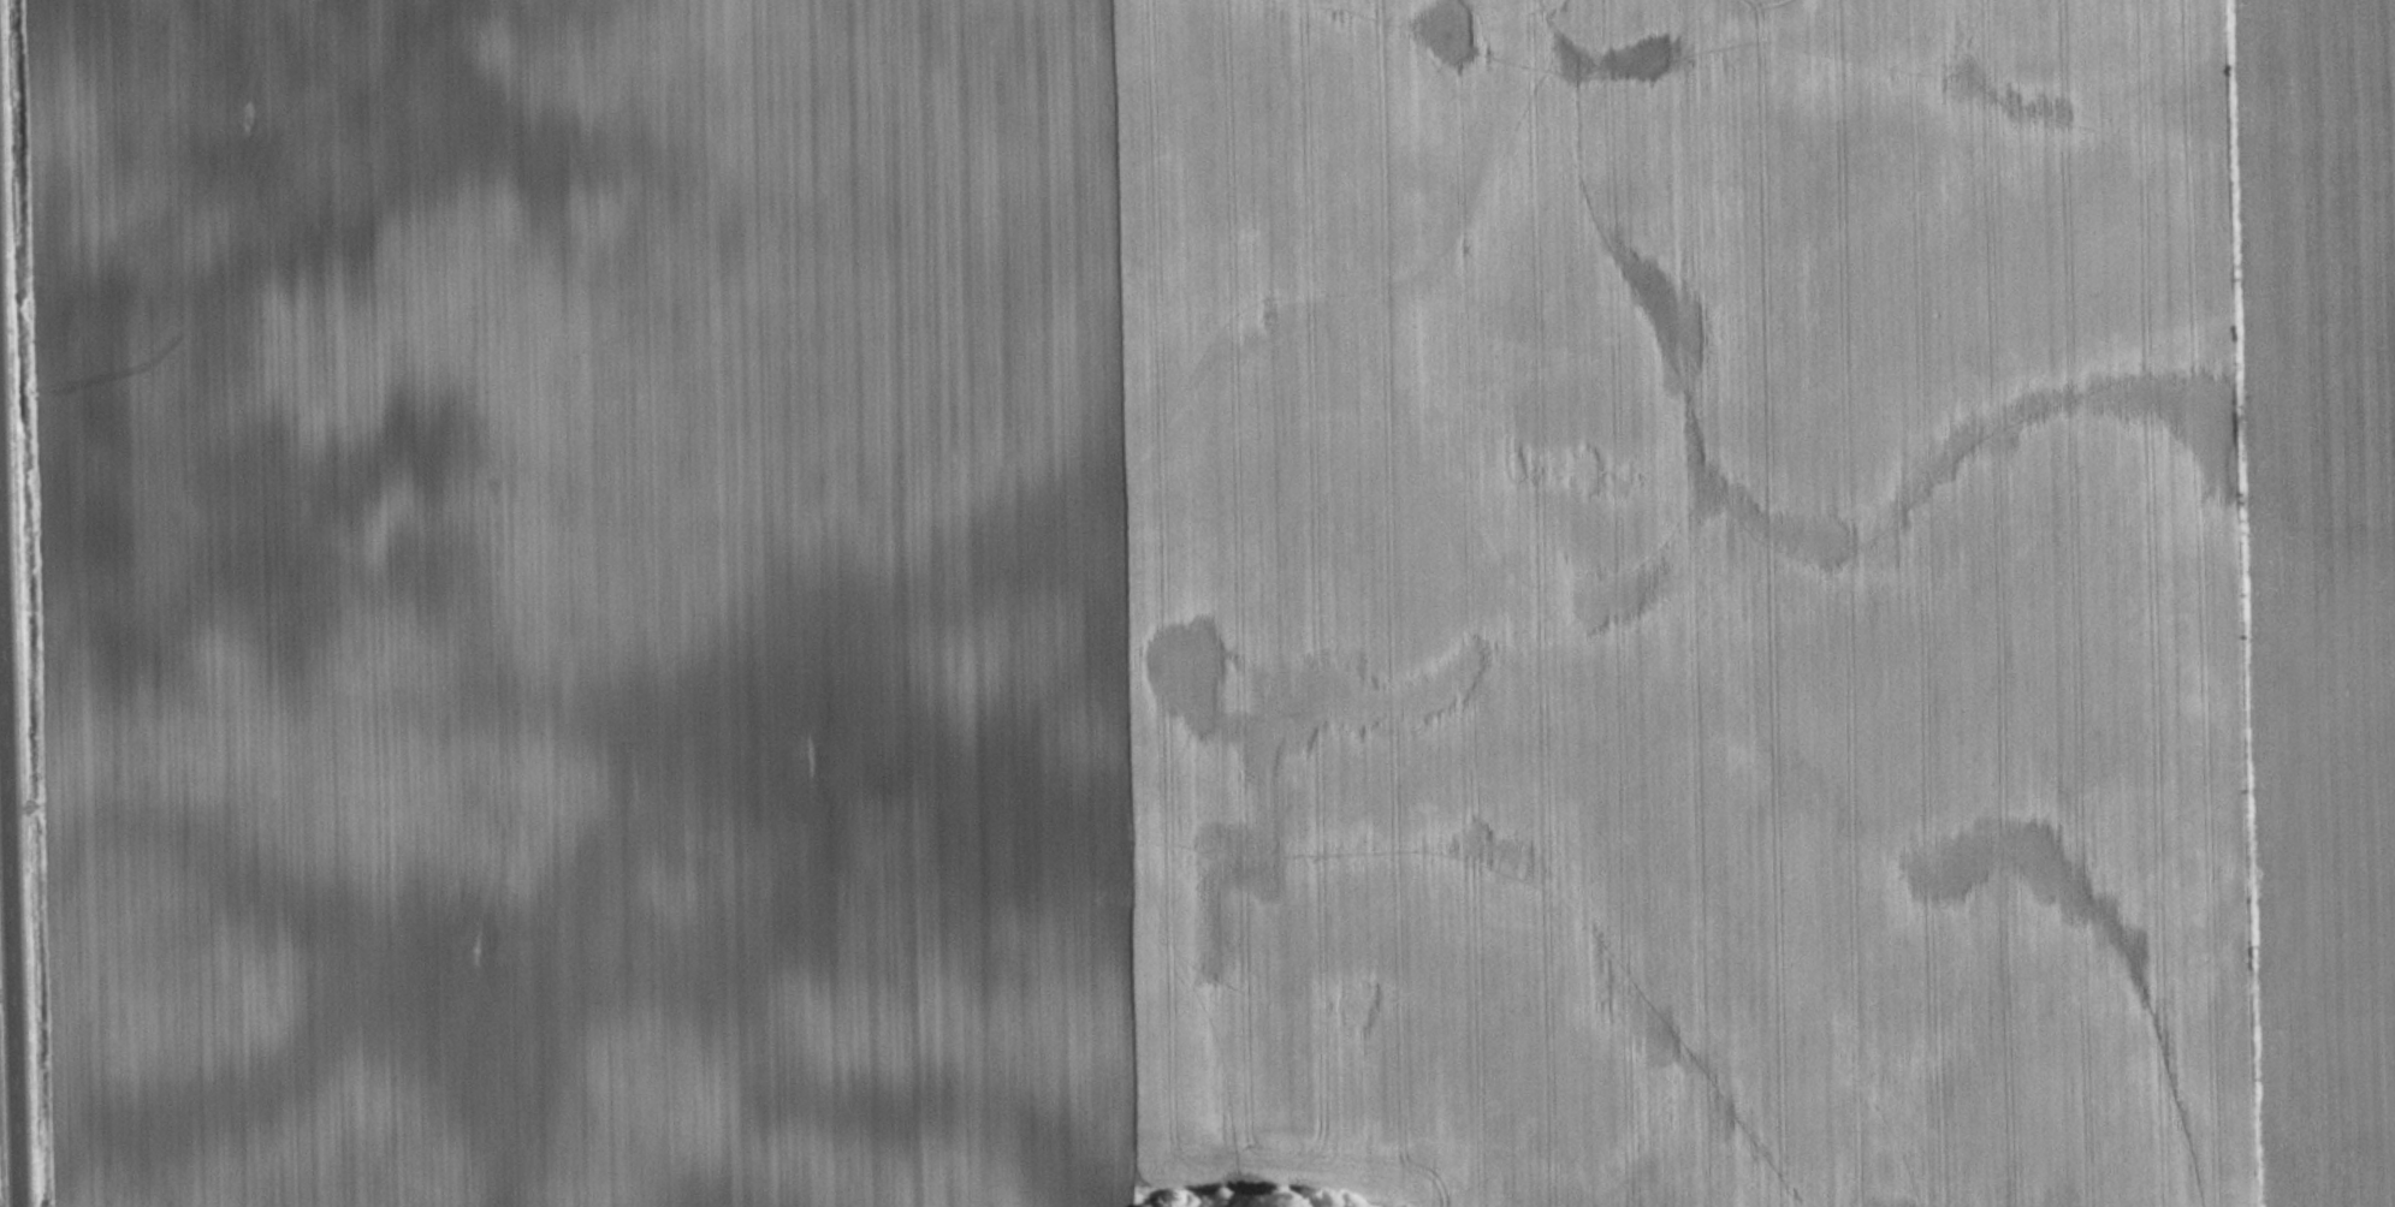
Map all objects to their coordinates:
road: (8, 892)

